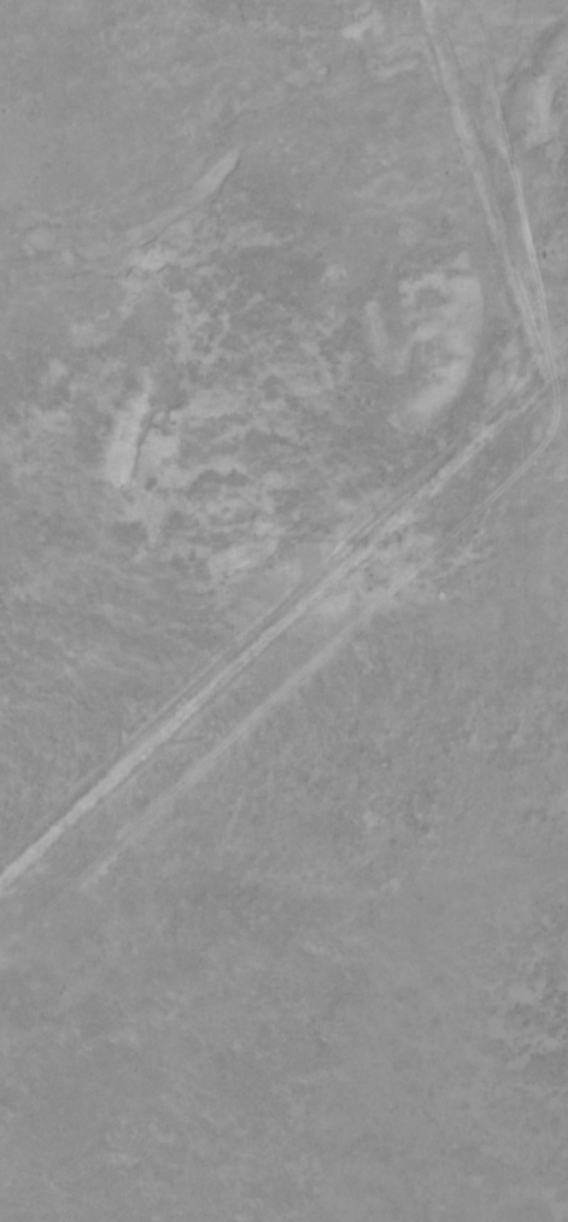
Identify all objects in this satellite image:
road: (472, 192)
road: (285, 624)

